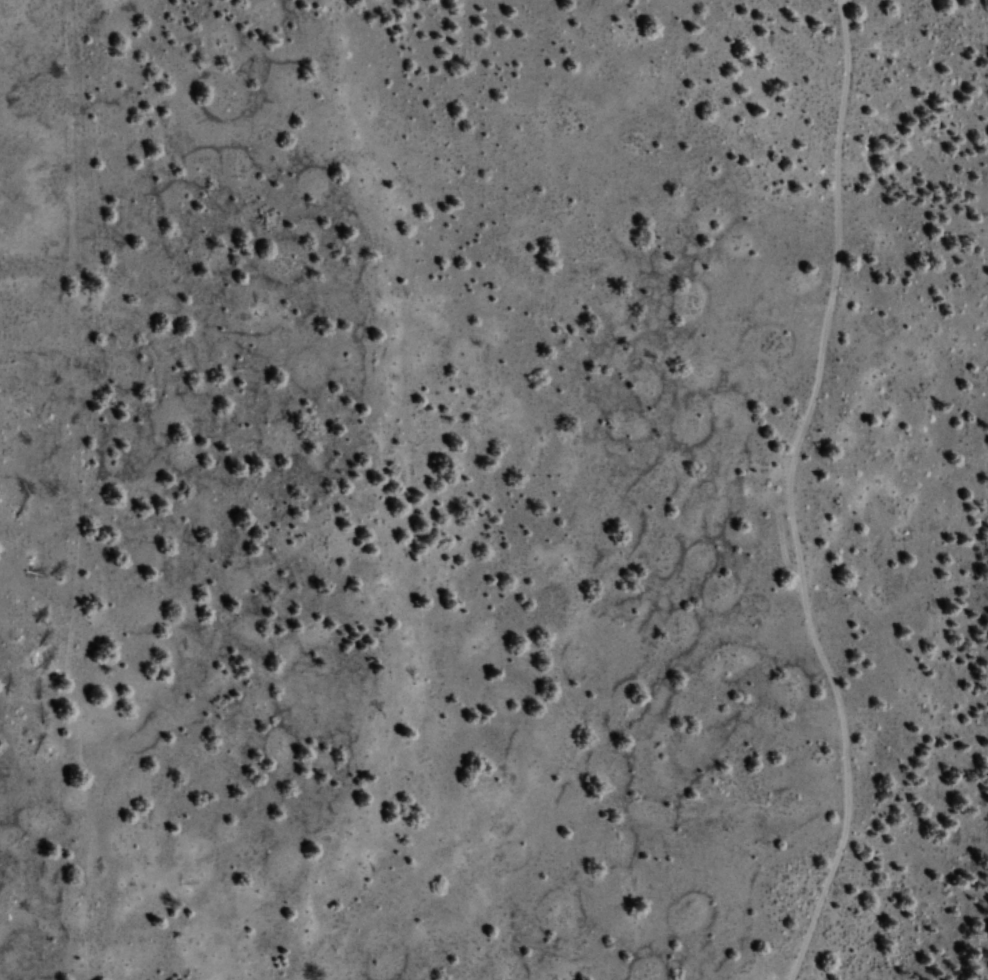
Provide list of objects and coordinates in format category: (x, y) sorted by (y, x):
road: (791, 495)

